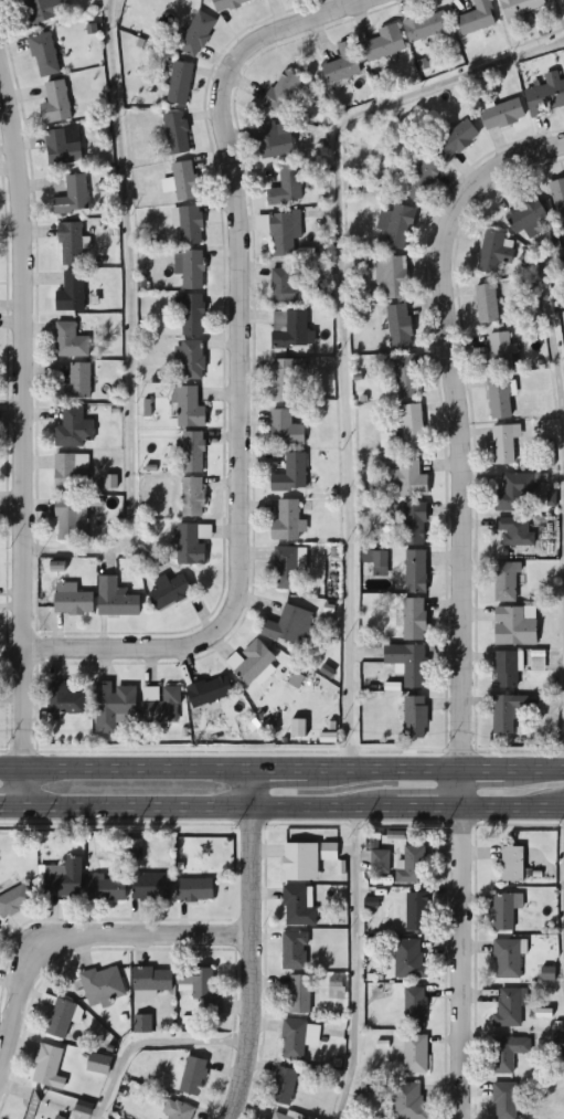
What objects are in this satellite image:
building: (230, 3)
building: (520, 7)
building: (42, 11)
building: (477, 18)
building: (426, 27)
building: (196, 34)
building: (384, 44)
building: (44, 55)
building: (343, 63)
building: (179, 83)
building: (281, 92)
building: (546, 95)
building: (55, 103)
building: (501, 115)
building: (177, 133)
building: (455, 138)
building: (274, 139)
building: (63, 146)
building: (184, 180)
building: (422, 180)
building: (287, 187)
building: (73, 196)
building: (558, 200)
building: (526, 217)
building: (190, 225)
building: (396, 226)
building: (285, 233)
building: (70, 244)
building: (493, 253)
building: (190, 268)
building: (385, 273)
building: (287, 286)
building: (71, 293)
building: (487, 304)
building: (190, 314)
road: (131, 323)
building: (398, 326)
road: (552, 326)
road: (344, 327)
building: (289, 328)
building: (70, 341)
building: (500, 353)
building: (190, 360)
road: (235, 370)
building: (406, 377)
building: (286, 380)
building: (75, 383)
building: (499, 398)
building: (188, 408)
road: (453, 424)
building: (409, 425)
building: (74, 429)
building: (285, 430)
road: (24, 432)
building: (503, 444)
building: (191, 452)
building: (71, 472)
building: (291, 474)
building: (407, 478)
building: (514, 495)
building: (192, 497)
building: (71, 519)
building: (287, 522)
building: (414, 524)
building: (514, 532)
building: (191, 545)
building: (287, 569)
building: (415, 572)
building: (506, 582)
building: (169, 591)
building: (115, 599)
building: (71, 600)
building: (414, 620)
building: (289, 626)
building: (514, 626)
building: (254, 663)
building: (407, 663)
building: (506, 669)
building: (153, 690)
building: (209, 692)
building: (64, 699)
building: (114, 706)
building: (507, 712)
building: (415, 718)
road: (281, 770)
road: (281, 809)
building: (329, 852)
building: (380, 861)
building: (300, 862)
building: (512, 864)
building: (412, 866)
building: (61, 879)
building: (150, 887)
building: (105, 889)
building: (193, 890)
building: (14, 900)
building: (298, 908)
building: (506, 909)
building: (417, 911)
road: (84, 931)
road: (248, 944)
road: (462, 944)
building: (295, 951)
building: (409, 959)
building: (508, 959)
road: (358, 964)
building: (151, 980)
building: (103, 986)
building: (199, 988)
building: (298, 995)
building: (414, 1007)
building: (509, 1007)
building: (60, 1018)
building: (298, 1039)
road: (151, 1044)
building: (508, 1053)
building: (415, 1055)
building: (98, 1064)
building: (47, 1067)
building: (192, 1076)
building: (284, 1086)
building: (408, 1100)
building: (504, 1100)
building: (41, 1109)
building: (178, 1110)
building: (286, 1116)

